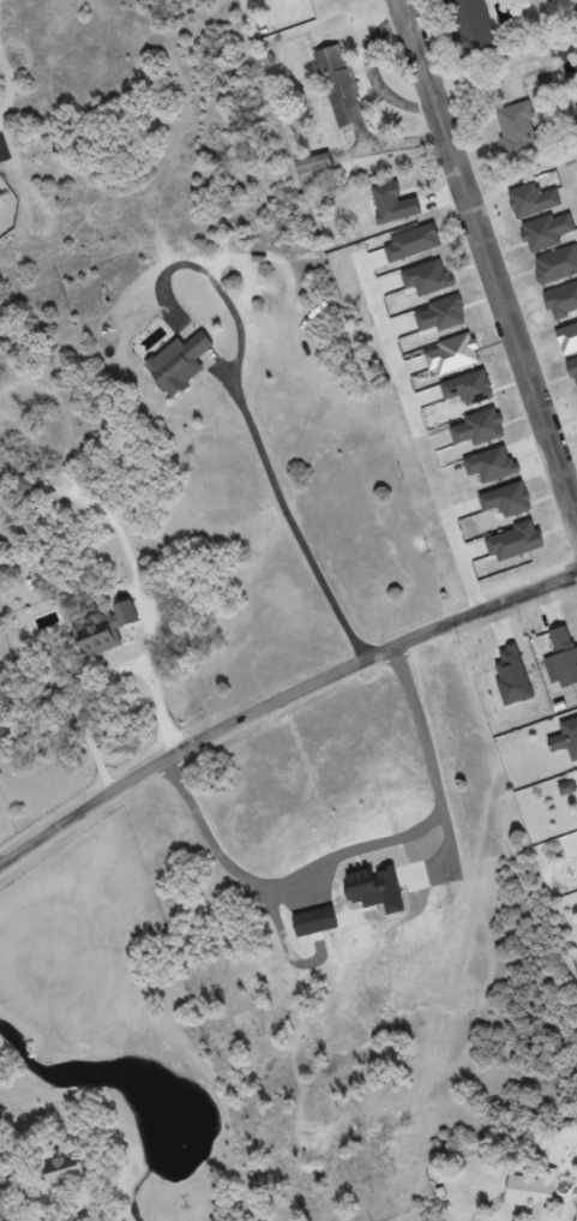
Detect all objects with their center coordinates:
building: (474, 26)
building: (341, 86)
building: (518, 132)
building: (313, 163)
road: (492, 247)
building: (180, 364)
road: (486, 607)
building: (104, 629)
building: (570, 737)
road: (192, 742)
building: (66, 1171)
building: (4, 1185)
building: (533, 1191)

